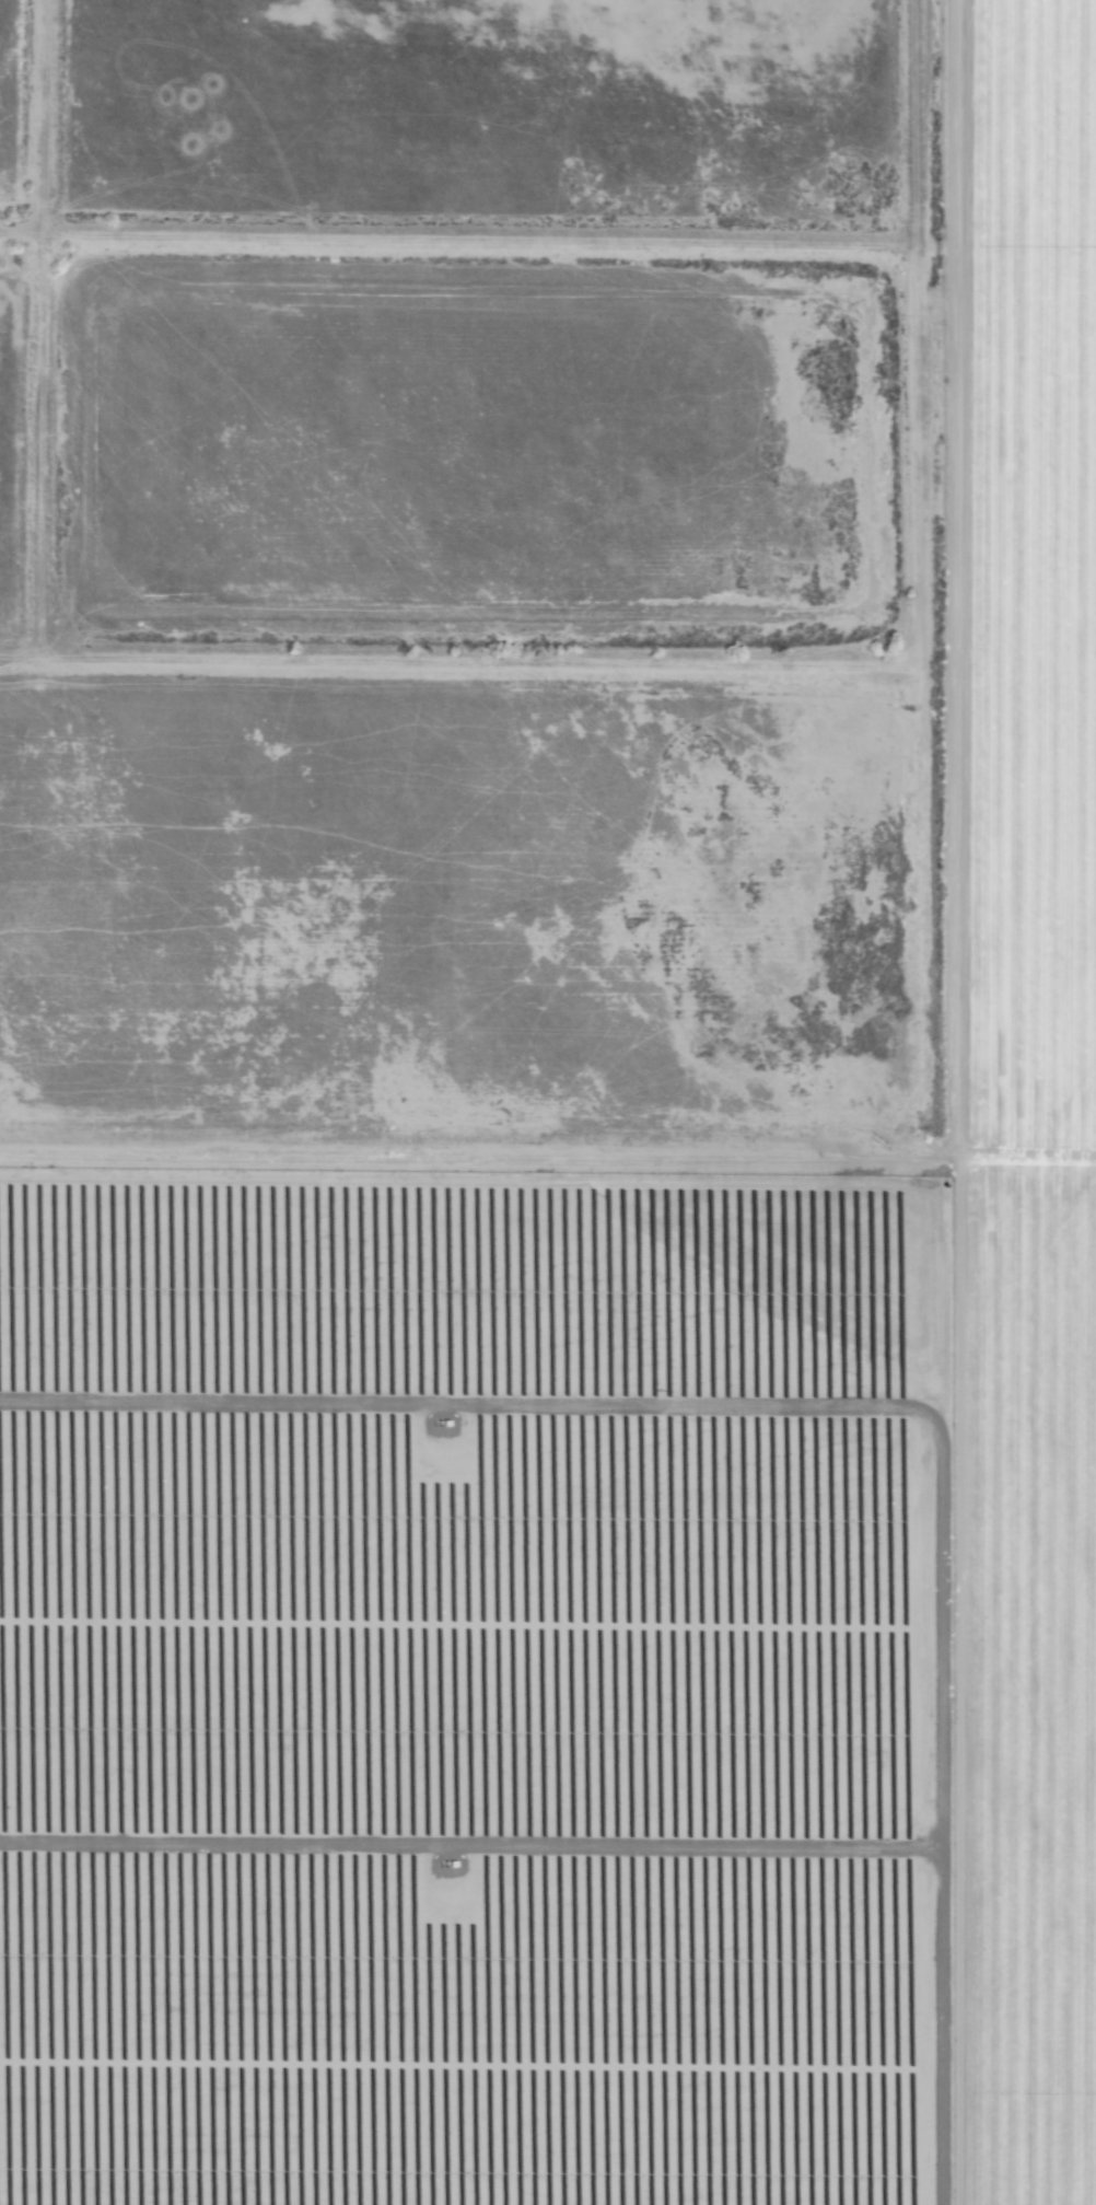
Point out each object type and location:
road: (953, 1102)
road: (1025, 1159)
solar farm: (471, 1690)

